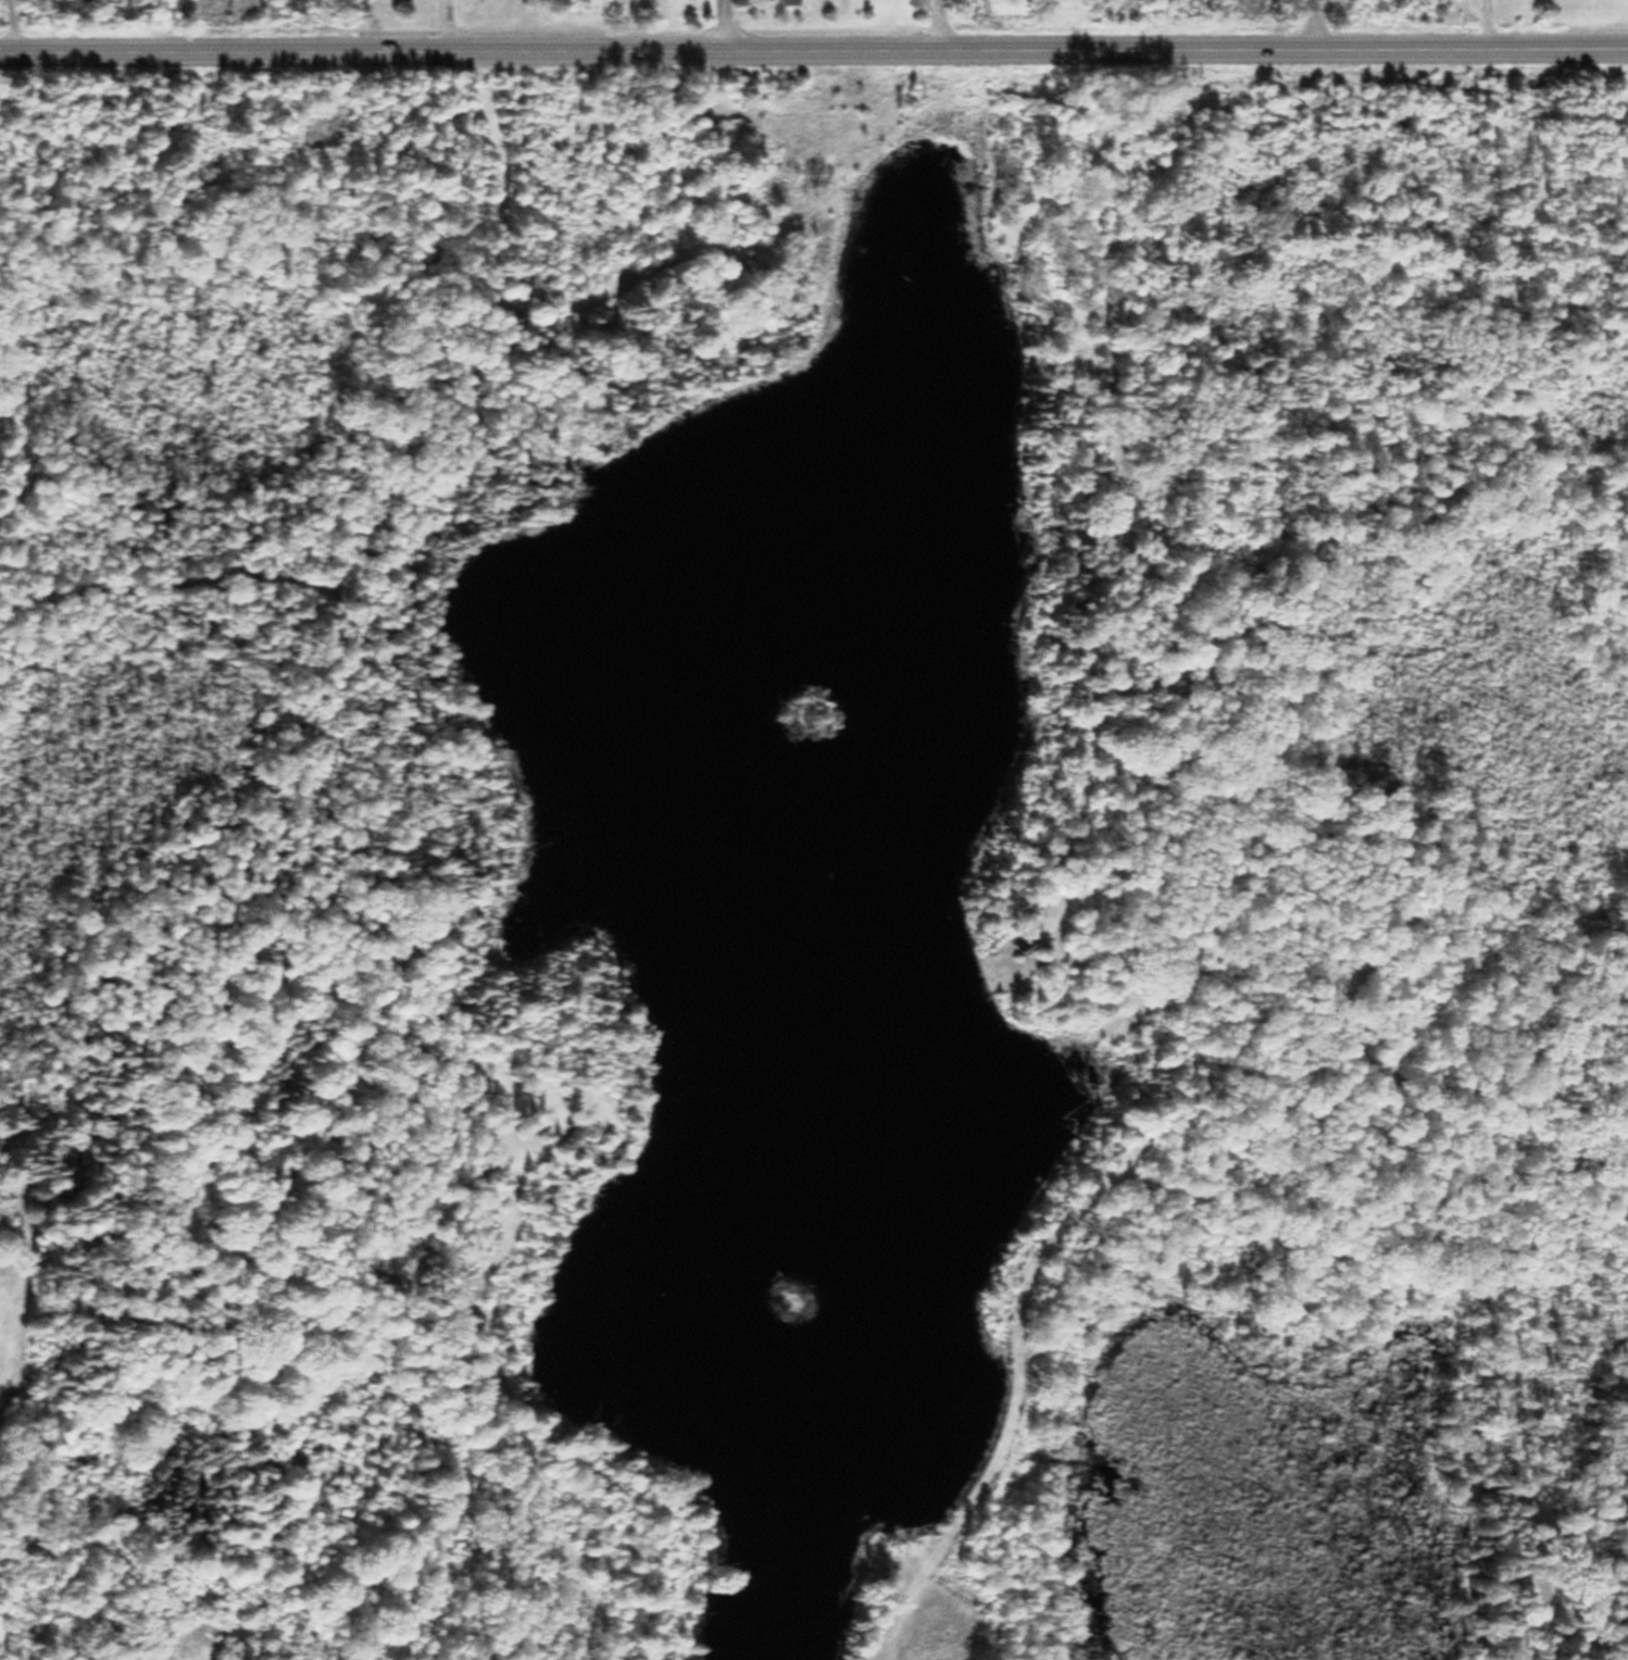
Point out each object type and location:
building: (784, 1)
road: (726, 21)
road: (944, 21)
road: (28, 24)
road: (813, 41)

